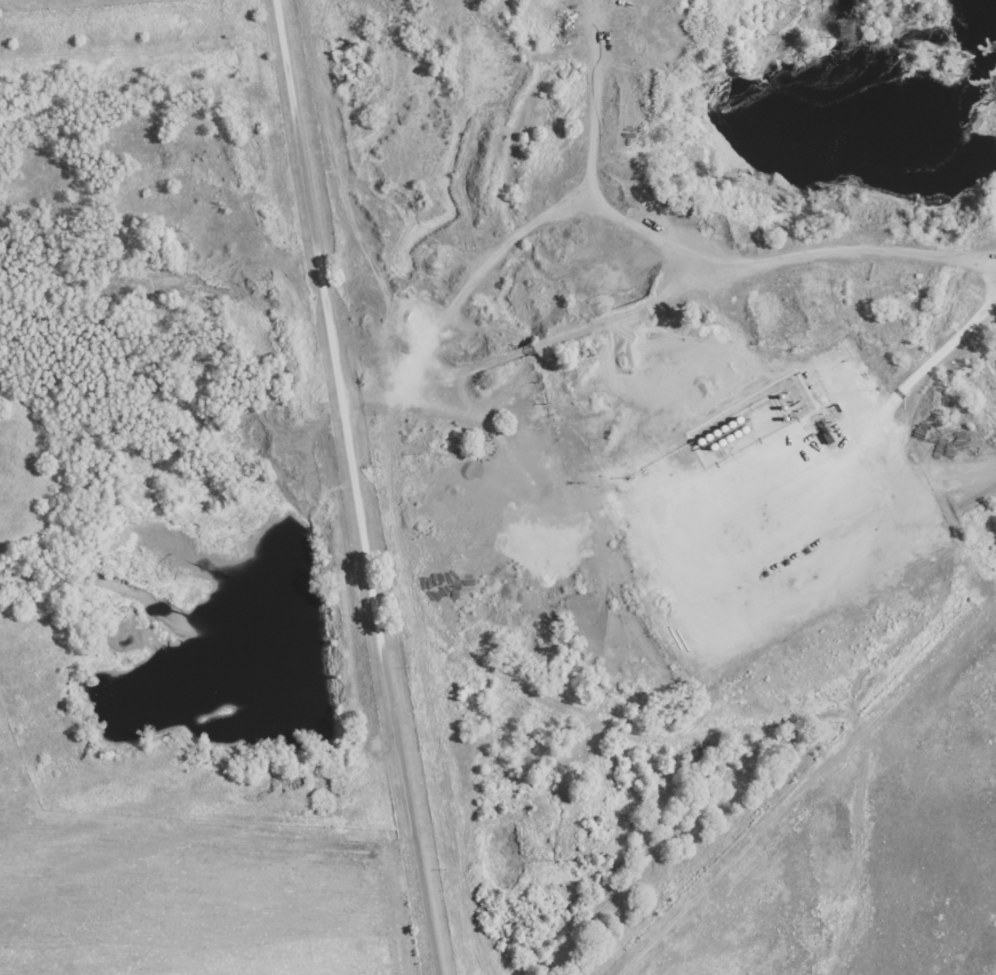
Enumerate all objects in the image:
road: (365, 486)

